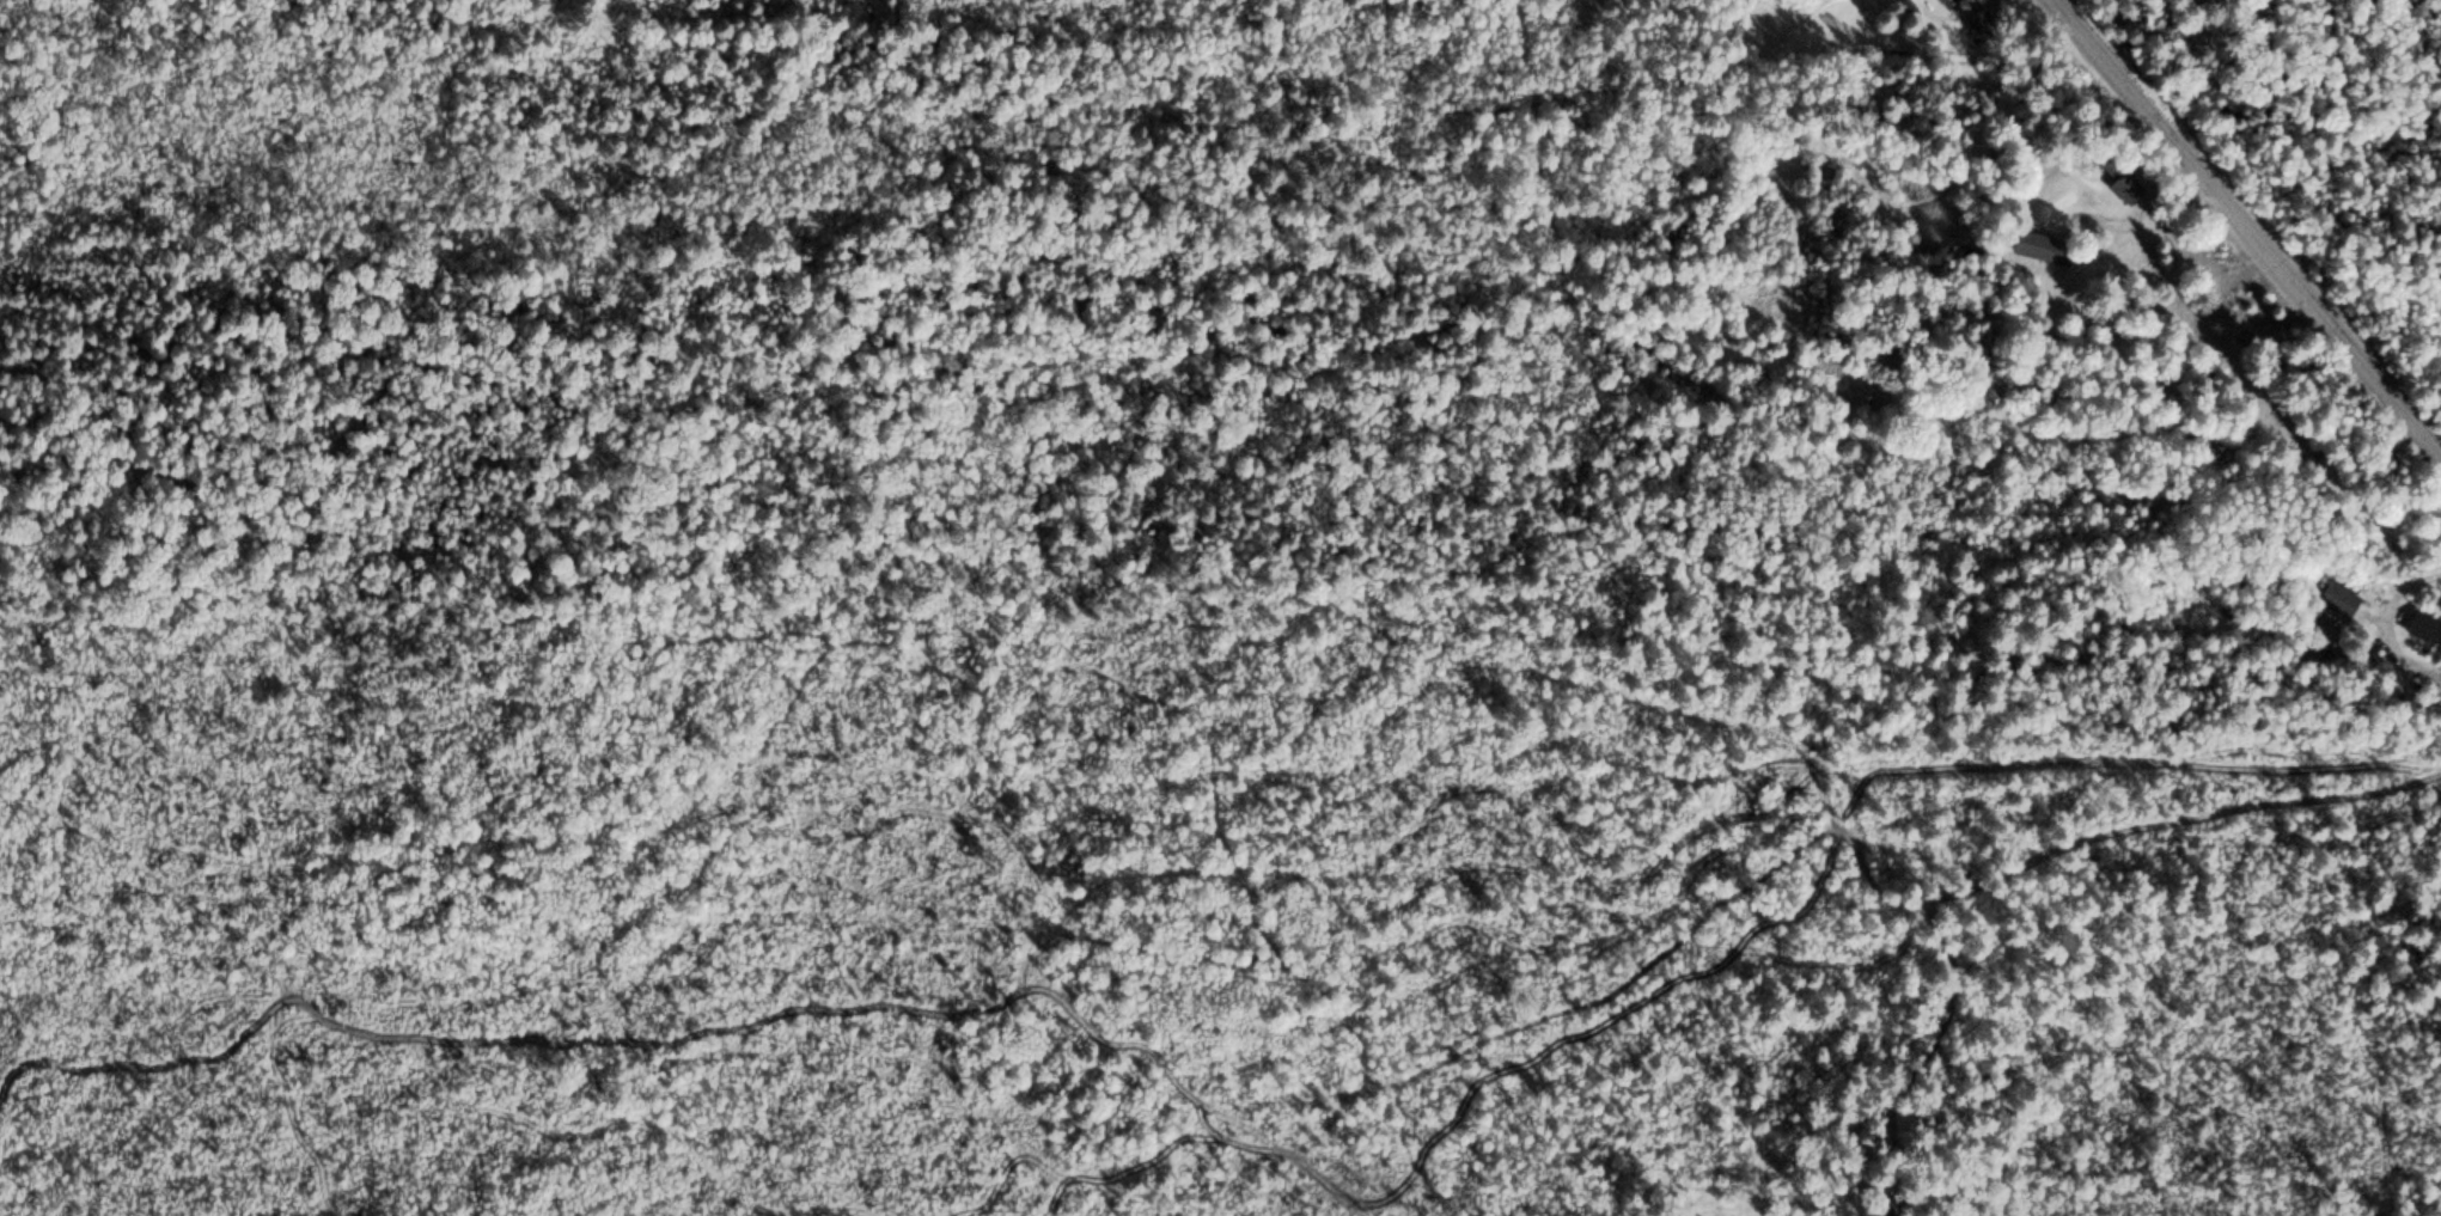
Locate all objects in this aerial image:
road: (2246, 227)
building: (2329, 598)
building: (2419, 628)

